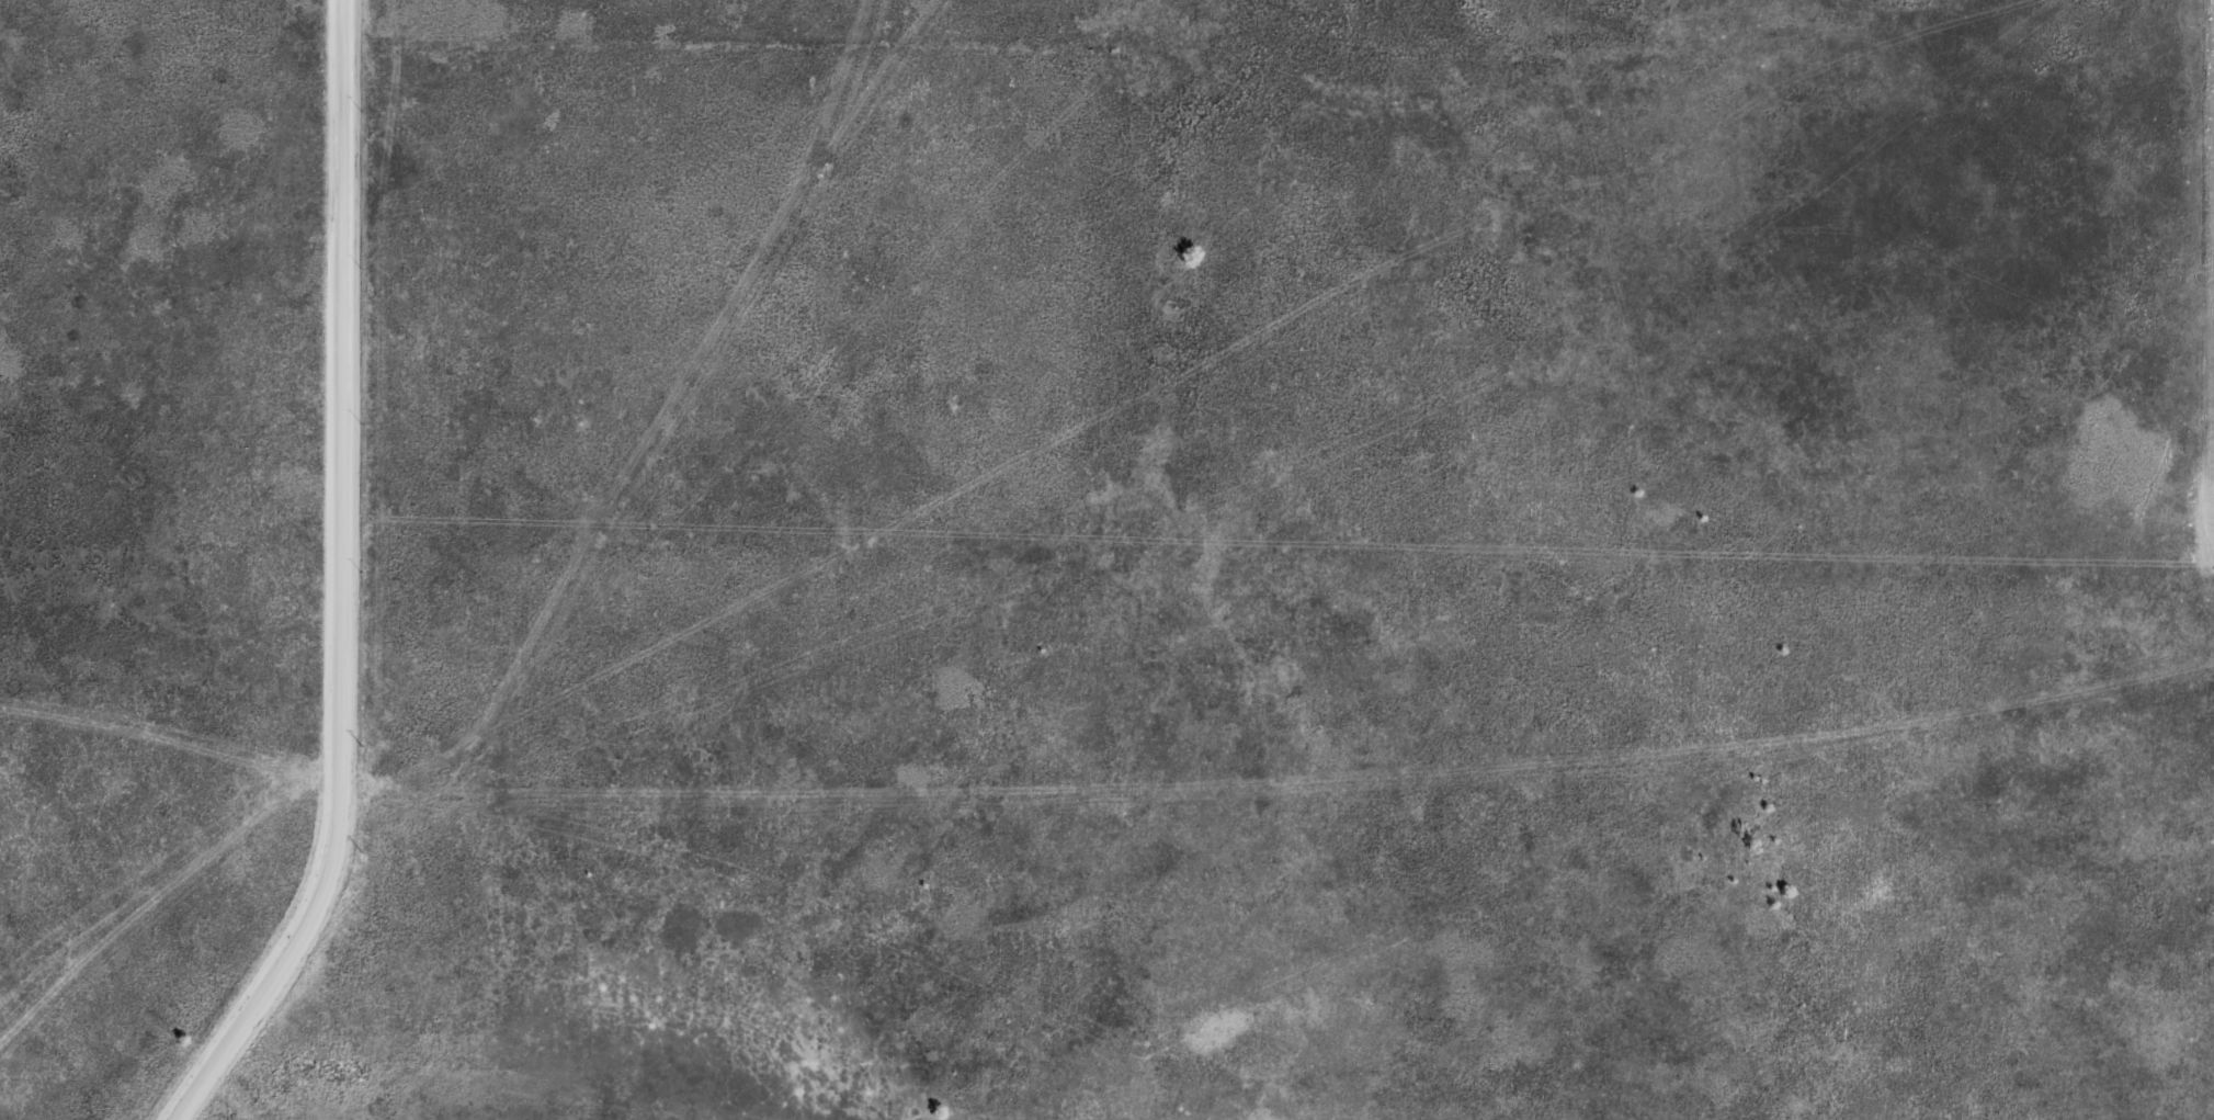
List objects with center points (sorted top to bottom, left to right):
road: (1030, 37)
road: (383, 579)

